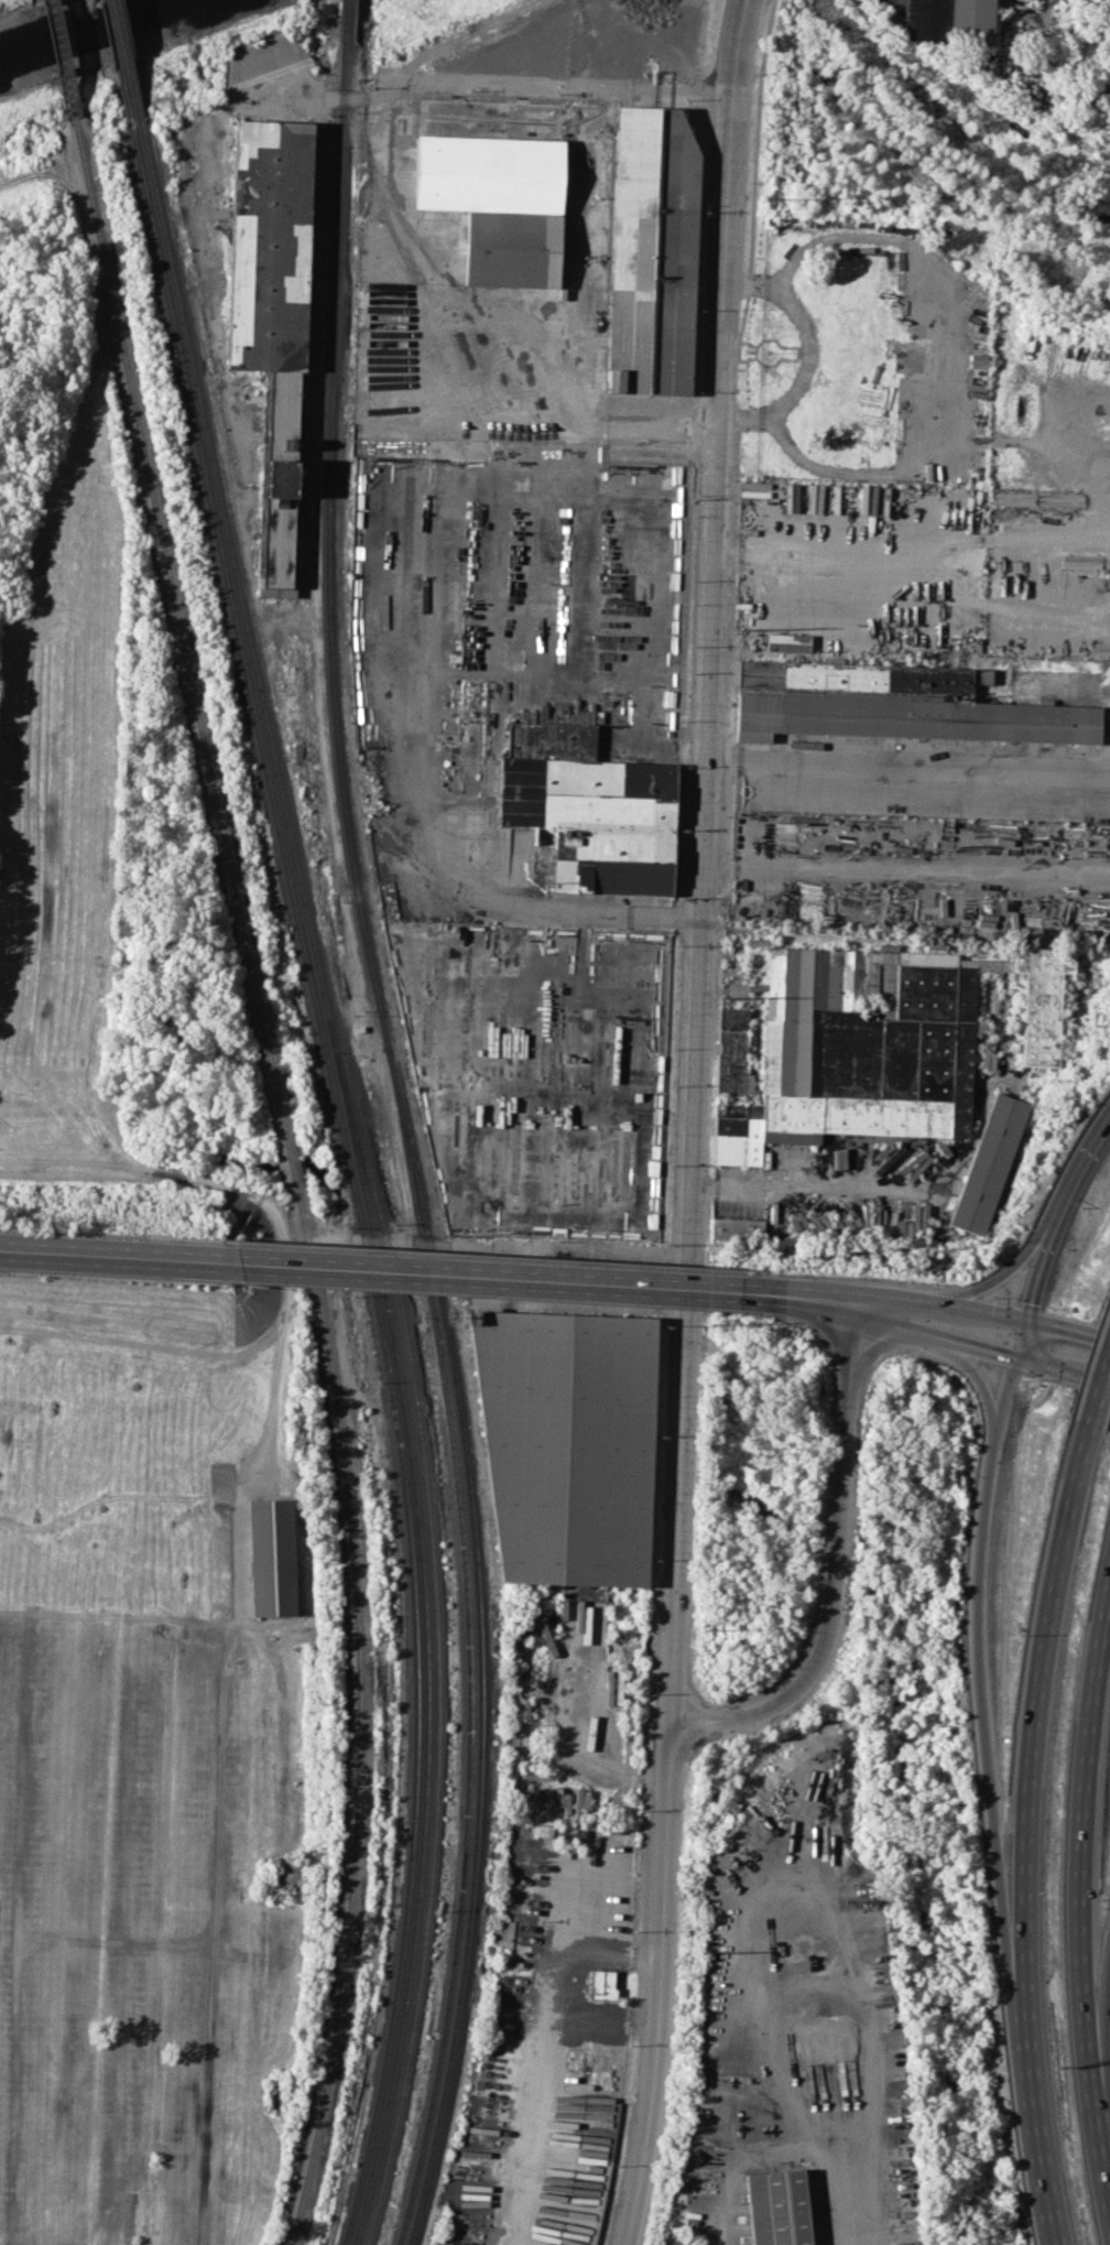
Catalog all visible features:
road: (1036, 15)
railway: (345, 19)
building: (939, 19)
river: (97, 33)
railway: (61, 58)
railway: (128, 62)
railway: (118, 63)
road: (520, 83)
power tower: (769, 197)
railway: (423, 300)
railway: (470, 304)
building: (271, 317)
road: (954, 334)
building: (391, 341)
road: (807, 354)
road: (749, 415)
building: (542, 497)
power tower: (741, 629)
building: (892, 704)
road: (573, 912)
power tower: (722, 997)
building: (868, 1043)
building: (537, 1071)
road: (694, 1122)
road: (1101, 1129)
railway: (406, 1143)
building: (990, 1162)
railway: (291, 1175)
railway: (361, 1179)
railway: (351, 1180)
road: (1064, 1194)
building: (738, 1228)
street lamp: (151, 1234)
street lamp: (1021, 1238)
street lamp: (360, 1251)
road: (116, 1257)
street lamp: (573, 1264)
street lamp: (781, 1272)
street lamp: (43, 1277)
road: (496, 1278)
road: (990, 1280)
road: (1032, 1282)
street lamp: (253, 1283)
street lamp: (463, 1294)
road: (807, 1300)
road: (940, 1304)
street lamp: (672, 1306)
power tower: (709, 1316)
traffic signals: (1026, 1316)
road: (1068, 1328)
road: (933, 1335)
road: (878, 1345)
traffic signals: (1015, 1356)
street lamp: (948, 1369)
road: (1063, 1370)
street lamp: (1020, 1380)
road: (979, 1381)
road: (1097, 1387)
building: (564, 1444)
building: (272, 1559)
road: (833, 1571)
power tower: (704, 1629)
road: (973, 1636)
railway: (468, 1661)
railway: (436, 1669)
road: (1032, 1691)
road: (587, 1755)
road: (1078, 1809)
power tower: (698, 1951)
road: (555, 1981)
building: (600, 1983)
road: (1099, 1994)
road: (1029, 2103)
road: (1099, 2124)
road: (794, 2145)
building: (776, 2205)

